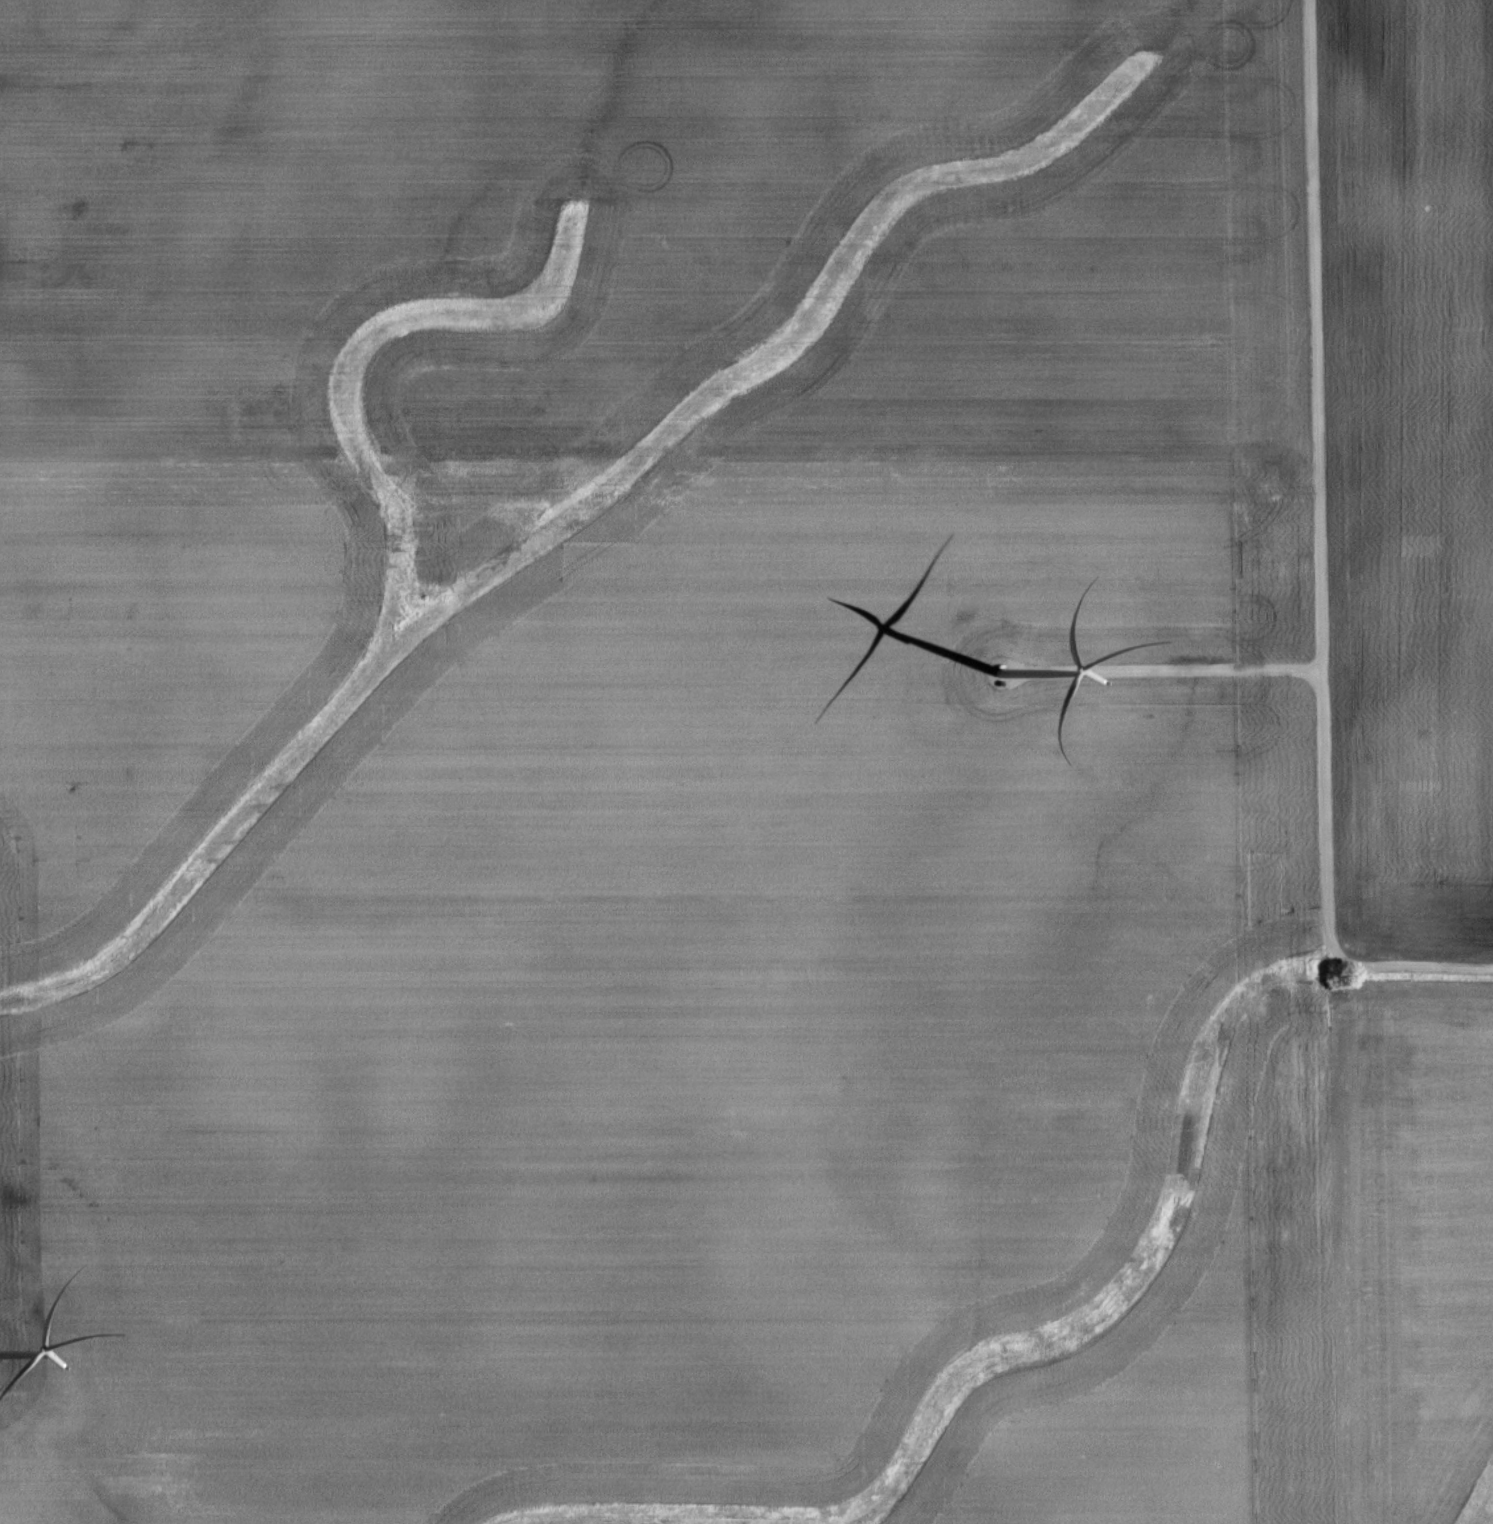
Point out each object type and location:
road: (1321, 556)
road: (1169, 671)
wind turbine: (1005, 685)

